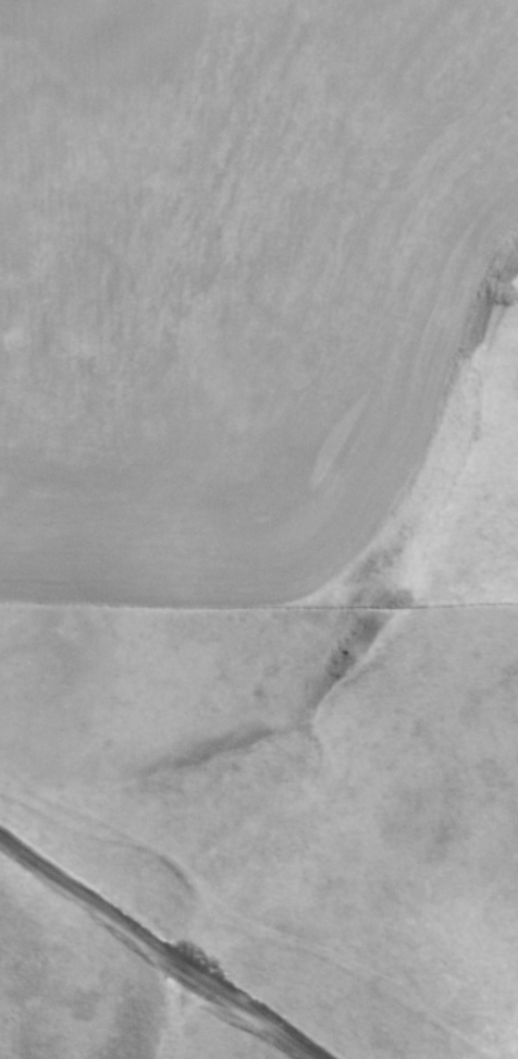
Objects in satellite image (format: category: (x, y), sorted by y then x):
road: (160, 945)

